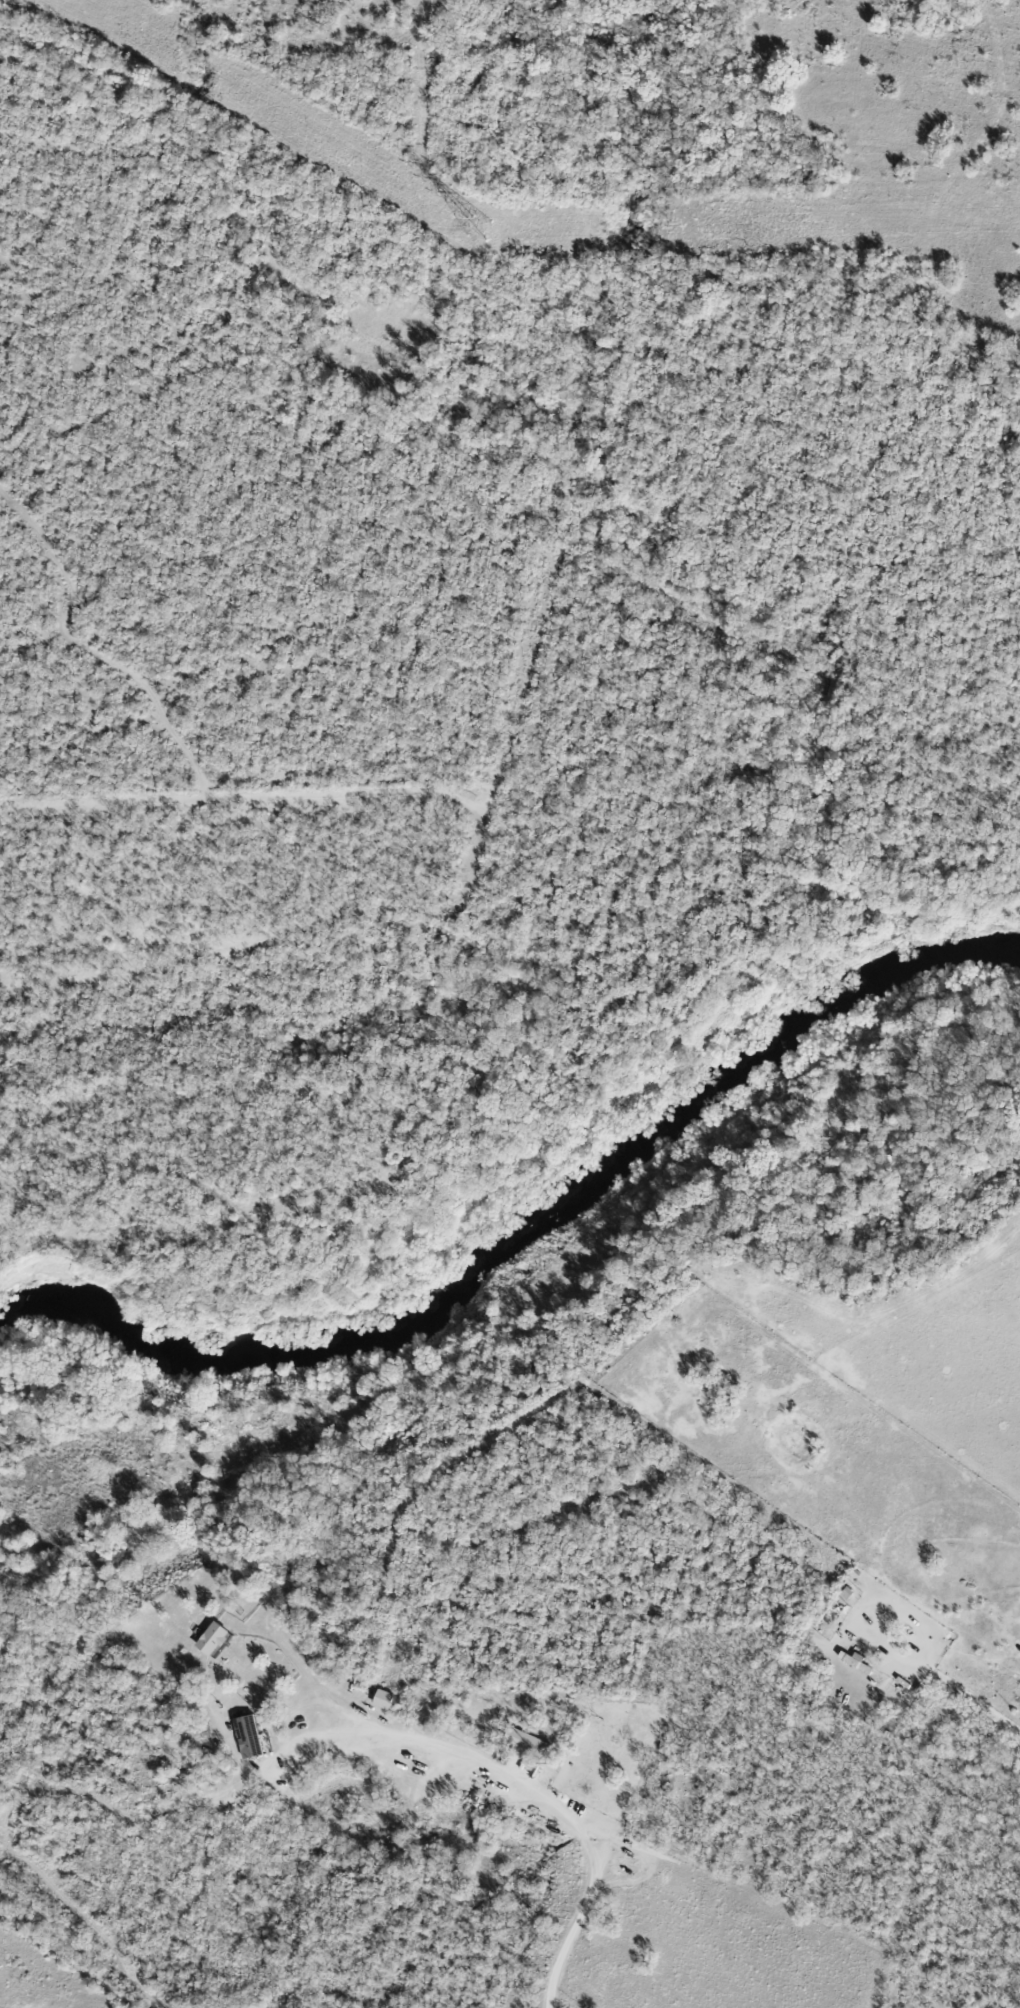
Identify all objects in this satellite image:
power tower: (476, 227)
river: (522, 1225)
building: (211, 1638)
building: (382, 1698)
road: (982, 1704)
building: (247, 1736)
building: (526, 1741)
road: (556, 1809)

